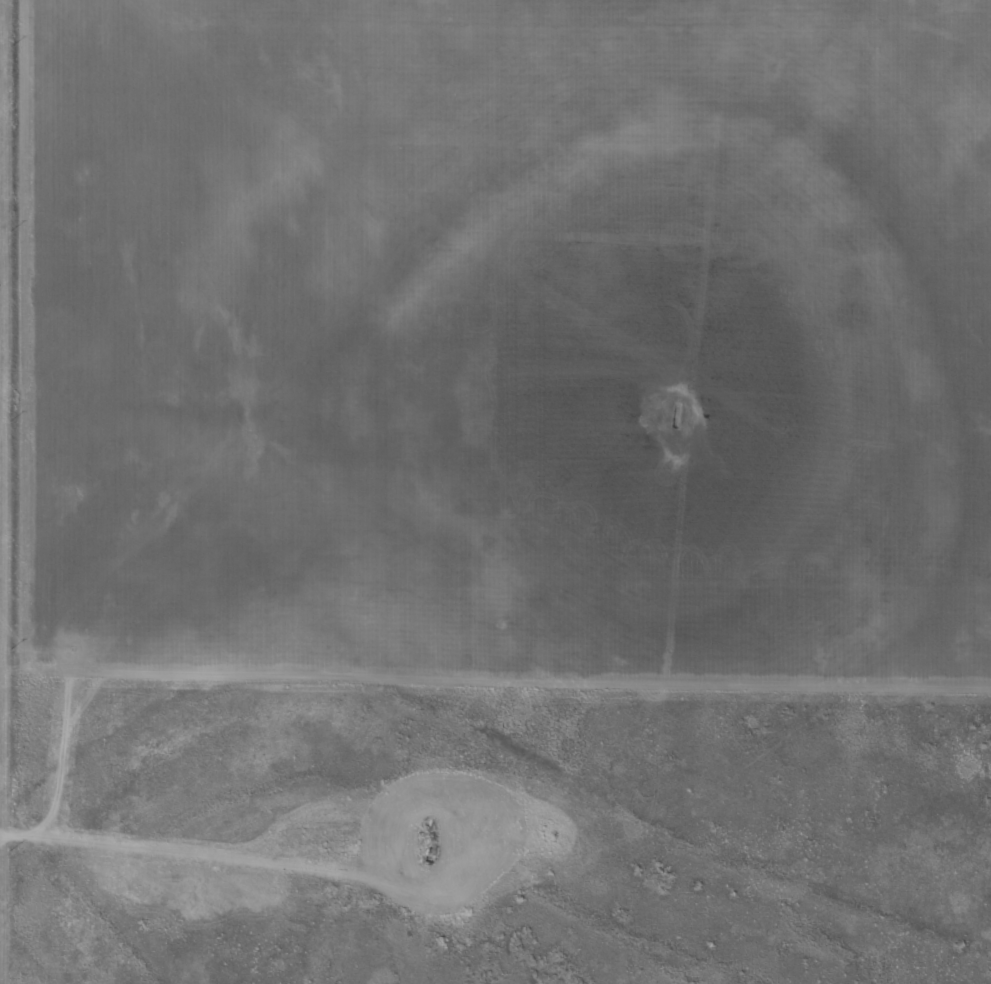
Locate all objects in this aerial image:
building: (425, 849)

